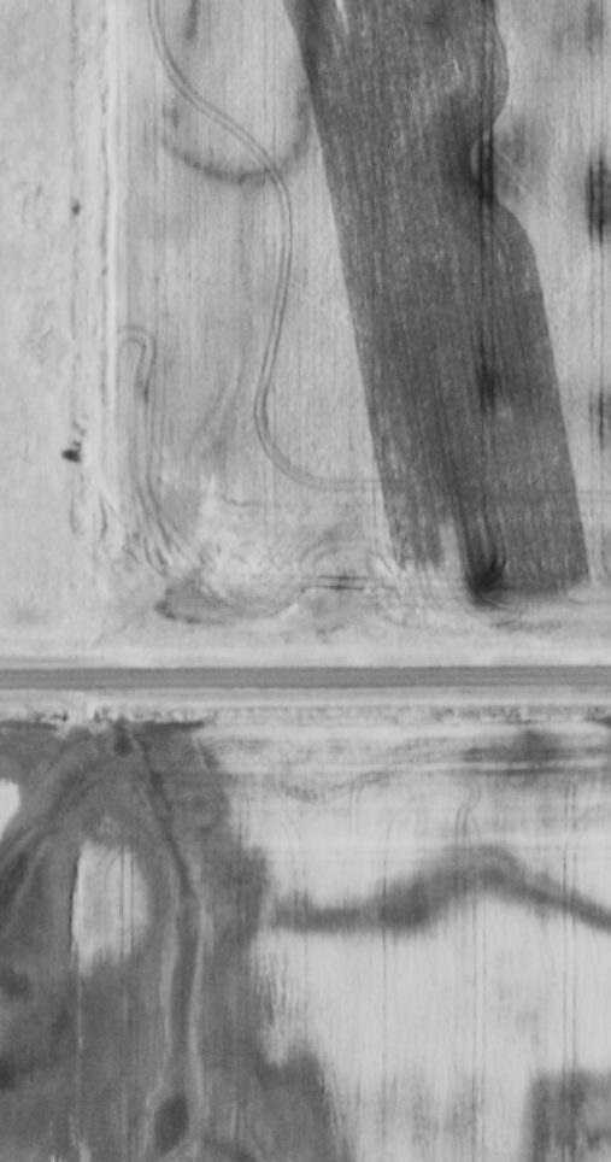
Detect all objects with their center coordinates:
road: (305, 675)

